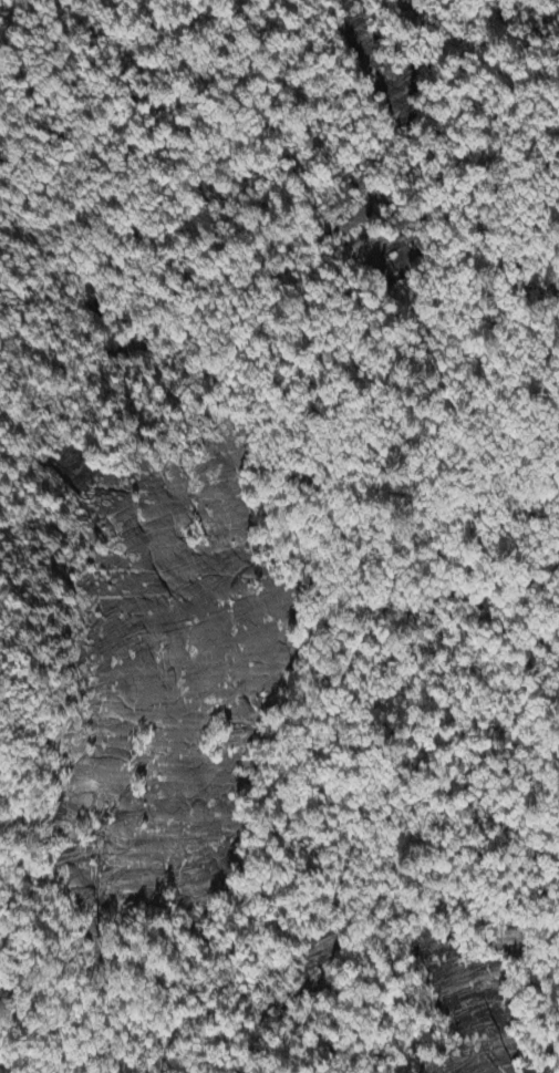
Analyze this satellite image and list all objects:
park: (279, 536)

